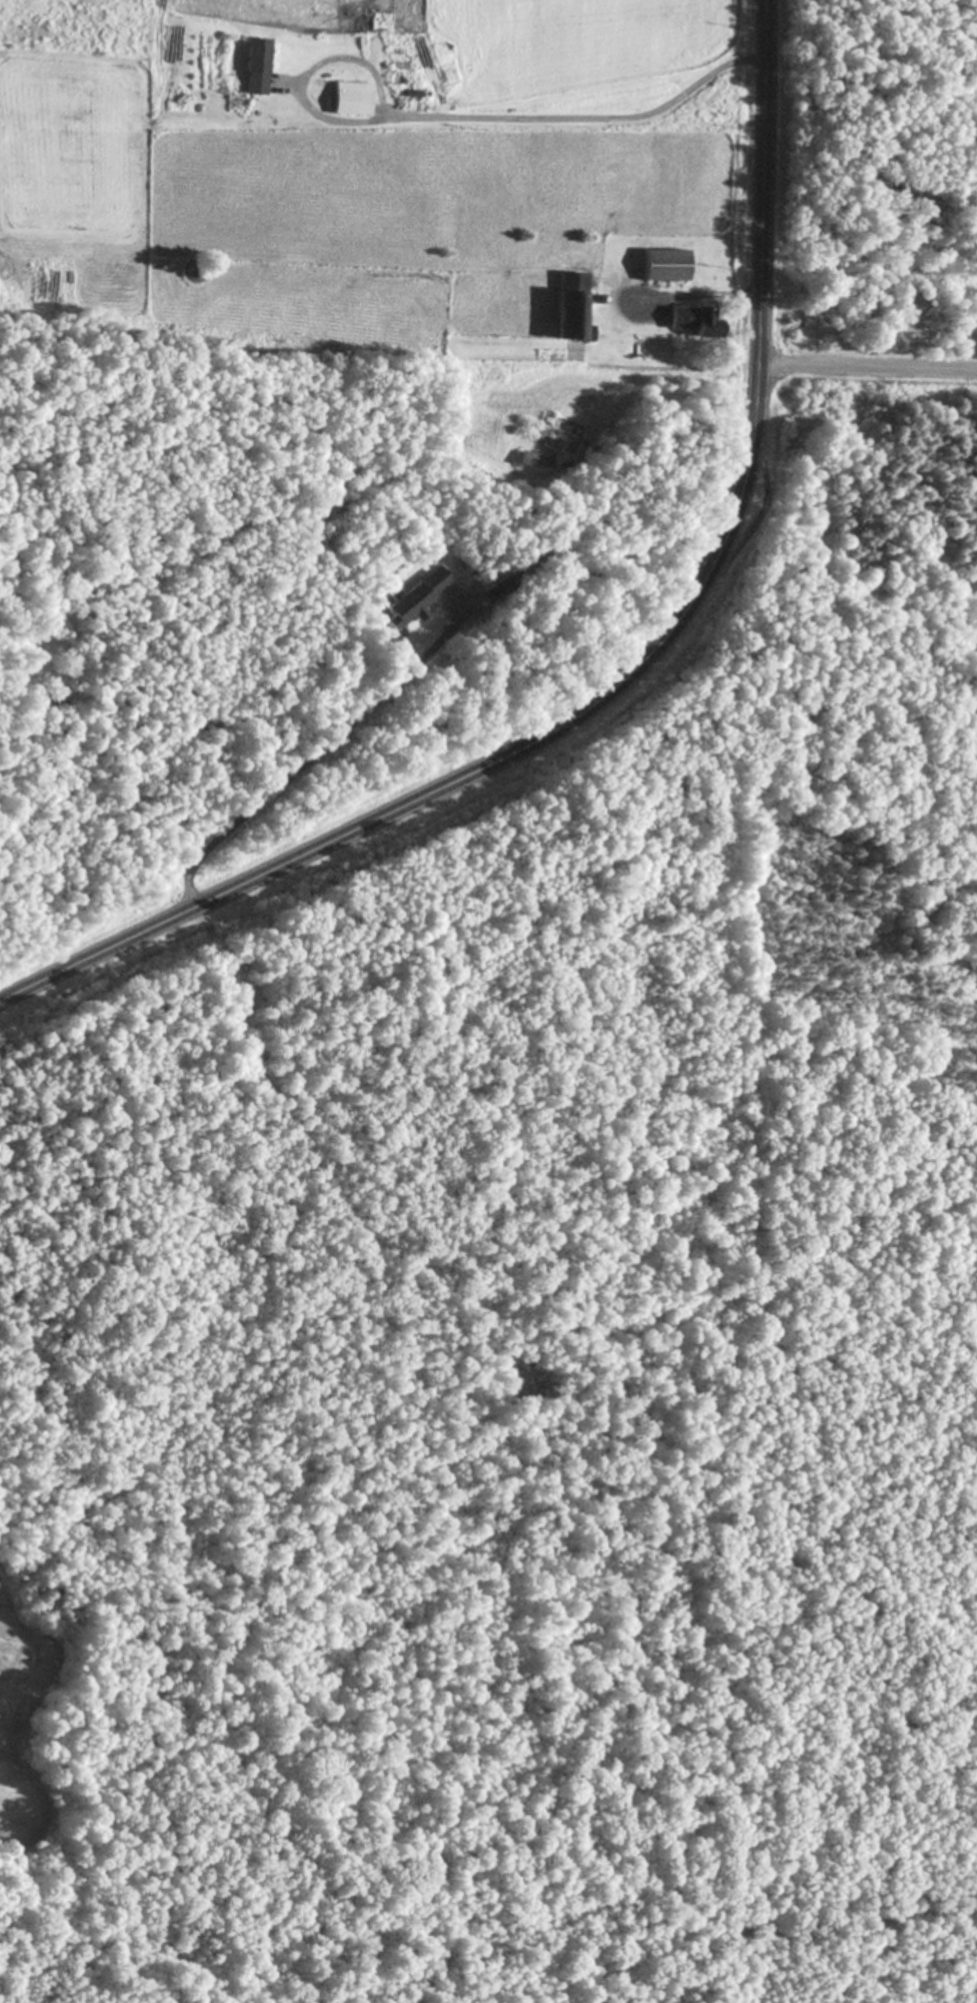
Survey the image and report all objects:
building: (257, 67)
building: (353, 99)
building: (667, 266)
building: (574, 306)
building: (698, 322)
road: (868, 367)
building: (534, 459)
building: (418, 596)
road: (627, 672)

